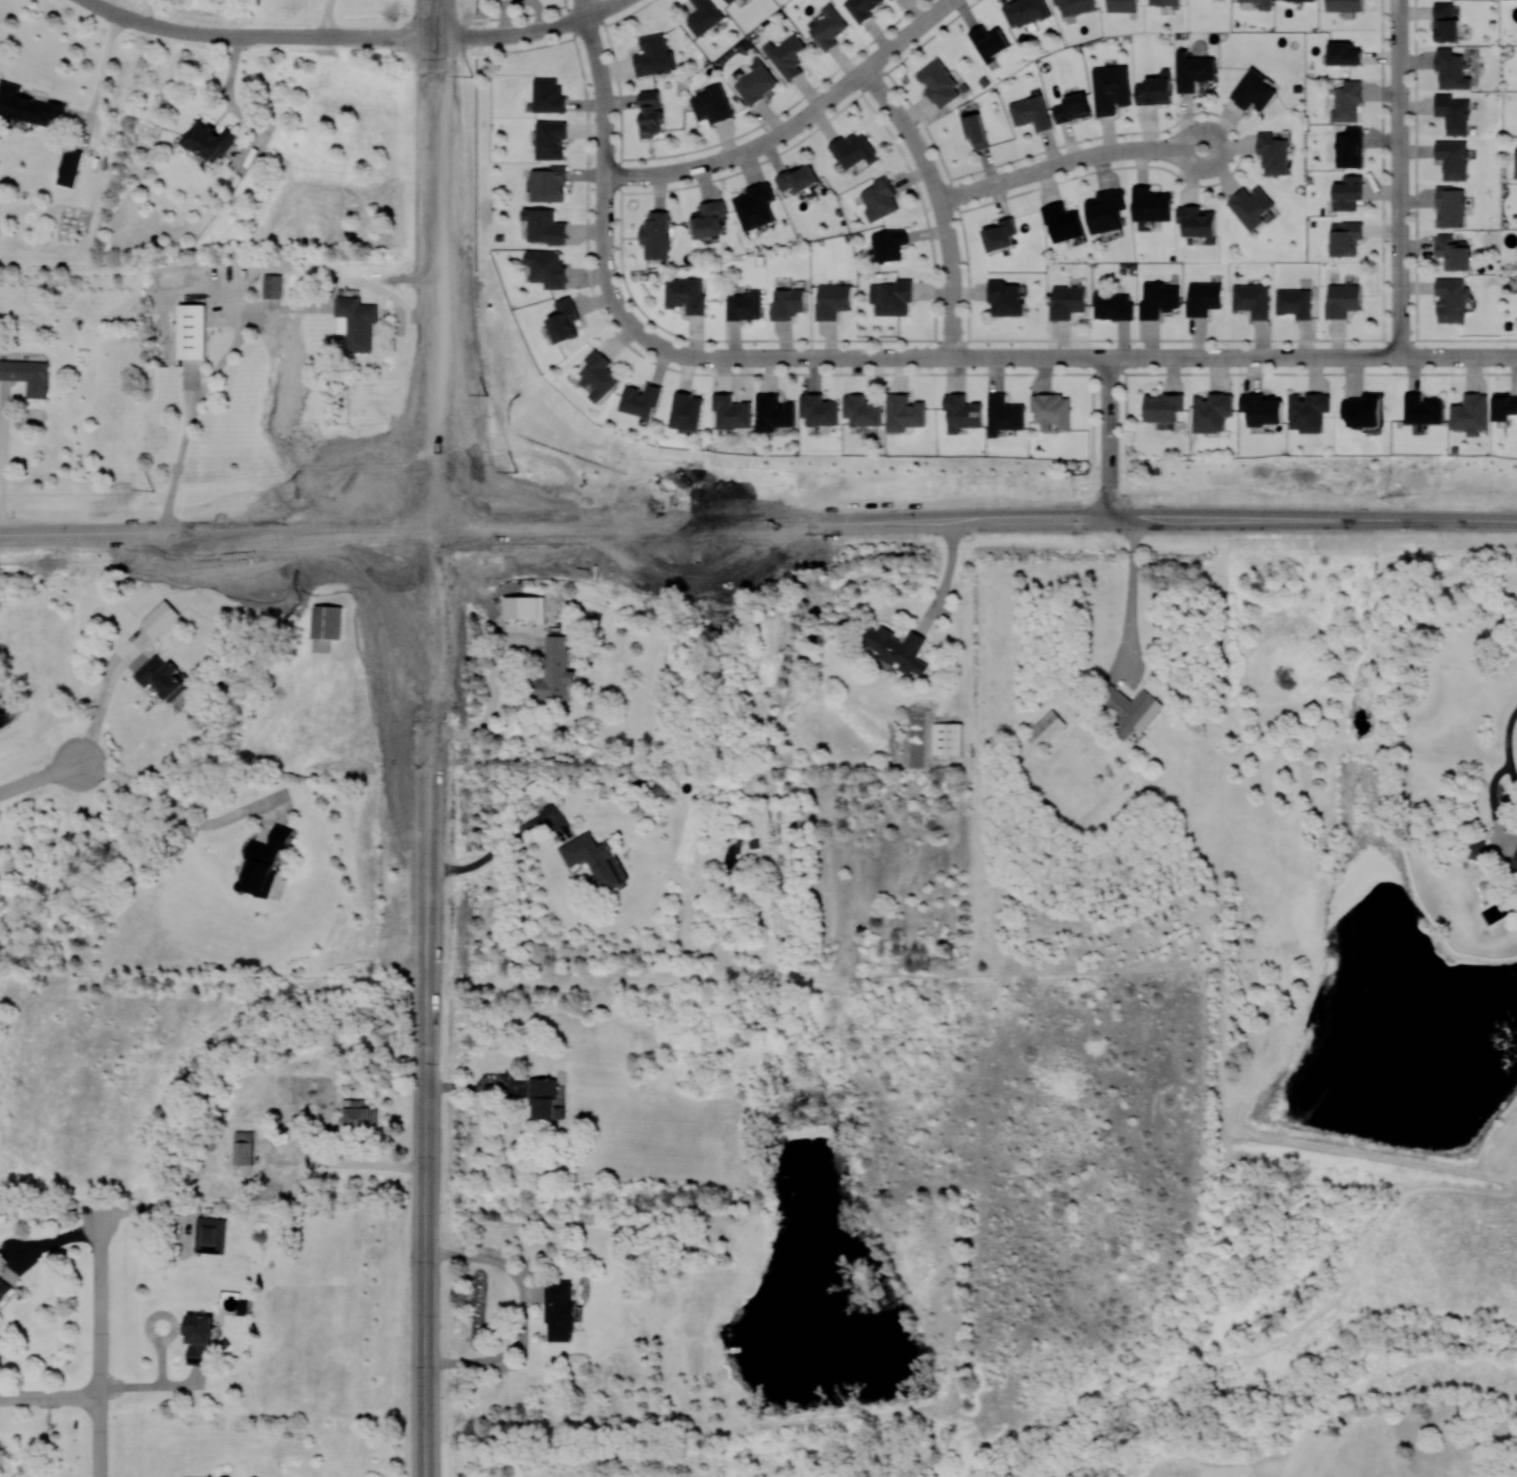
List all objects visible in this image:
building: (1297, 0)
building: (731, 1)
building: (1165, 2)
building: (1261, 3)
building: (1122, 5)
building: (1075, 6)
building: (1343, 7)
road: (584, 8)
building: (860, 8)
road: (145, 10)
building: (1024, 12)
road: (325, 17)
building: (703, 17)
road: (439, 18)
building: (1446, 22)
road: (556, 26)
building: (828, 27)
road: (238, 35)
road: (435, 36)
road: (481, 36)
building: (989, 42)
building: (1343, 54)
building: (654, 55)
building: (787, 55)
road: (101, 67)
building: (1451, 69)
building: (1193, 71)
power tower: (472, 76)
building: (756, 83)
building: (939, 83)
building: (1111, 89)
building: (1155, 89)
building: (1252, 91)
building: (548, 95)
building: (1346, 101)
building: (711, 104)
building: (28, 106)
building: (1072, 107)
building: (1031, 112)
building: (650, 113)
building: (1453, 113)
road: (795, 124)
building: (976, 130)
building: (551, 139)
building: (209, 141)
building: (1348, 147)
building: (853, 150)
building: (1273, 153)
building: (1453, 159)
road: (1069, 162)
building: (1516, 164)
building: (69, 166)
road: (1415, 169)
building: (797, 178)
road: (1400, 178)
road: (605, 183)
building: (548, 184)
building: (1347, 193)
building: (880, 199)
road: (940, 203)
building: (1151, 204)
building: (755, 206)
building: (1251, 206)
building: (1450, 206)
building: (1106, 210)
building: (709, 219)
building: (1063, 222)
building: (1198, 222)
building: (544, 225)
building: (655, 234)
building: (1000, 234)
building: (1345, 238)
building: (888, 244)
building: (1453, 252)
park: (483, 258)
road: (432, 259)
road: (451, 266)
building: (547, 268)
building: (272, 286)
building: (685, 294)
building: (891, 297)
building: (1203, 297)
building: (1005, 298)
building: (1158, 299)
building: (1252, 299)
building: (1341, 299)
building: (1451, 299)
building: (832, 300)
building: (1066, 301)
building: (787, 303)
building: (1294, 303)
building: (744, 305)
building: (1113, 306)
building: (564, 320)
building: (356, 322)
building: (191, 331)
road: (245, 334)
road: (1080, 357)
building: (27, 375)
building: (598, 375)
power tower: (495, 392)
building: (640, 399)
building: (1163, 406)
building: (1504, 406)
building: (1262, 409)
building: (1363, 409)
building: (1422, 409)
building: (819, 410)
building: (862, 410)
building: (686, 411)
building: (1051, 411)
building: (1212, 411)
building: (1308, 411)
building: (732, 412)
building: (774, 412)
building: (904, 412)
building: (962, 412)
building: (1470, 413)
building: (1004, 414)
road: (1107, 437)
road: (2, 456)
power tower: (524, 470)
power tower: (153, 490)
road: (679, 518)
road: (1234, 518)
road: (920, 524)
road: (675, 539)
road: (396, 542)
road: (946, 579)
road: (1132, 601)
building: (526, 607)
building: (160, 618)
building: (326, 621)
road: (418, 642)
road: (434, 644)
building: (897, 649)
building: (554, 670)
building: (161, 677)
road: (105, 696)
road: (493, 700)
building: (1131, 710)
building: (1045, 729)
building: (947, 738)
road: (1509, 747)
road: (39, 777)
building: (535, 790)
road: (178, 809)
road: (497, 848)
building: (1477, 848)
road: (437, 857)
building: (593, 860)
building: (262, 862)
building: (1515, 863)
road: (477, 1086)
road: (427, 1095)
building: (544, 1098)
building: (360, 1114)
building: (243, 1147)
dam: (1372, 1156)
road: (319, 1163)
road: (368, 1164)
building: (211, 1235)
building: (3, 1289)
road: (523, 1309)
building: (558, 1309)
road: (173, 1323)
building: (199, 1339)
road: (97, 1344)
road: (423, 1344)
road: (152, 1385)
road: (49, 1397)

